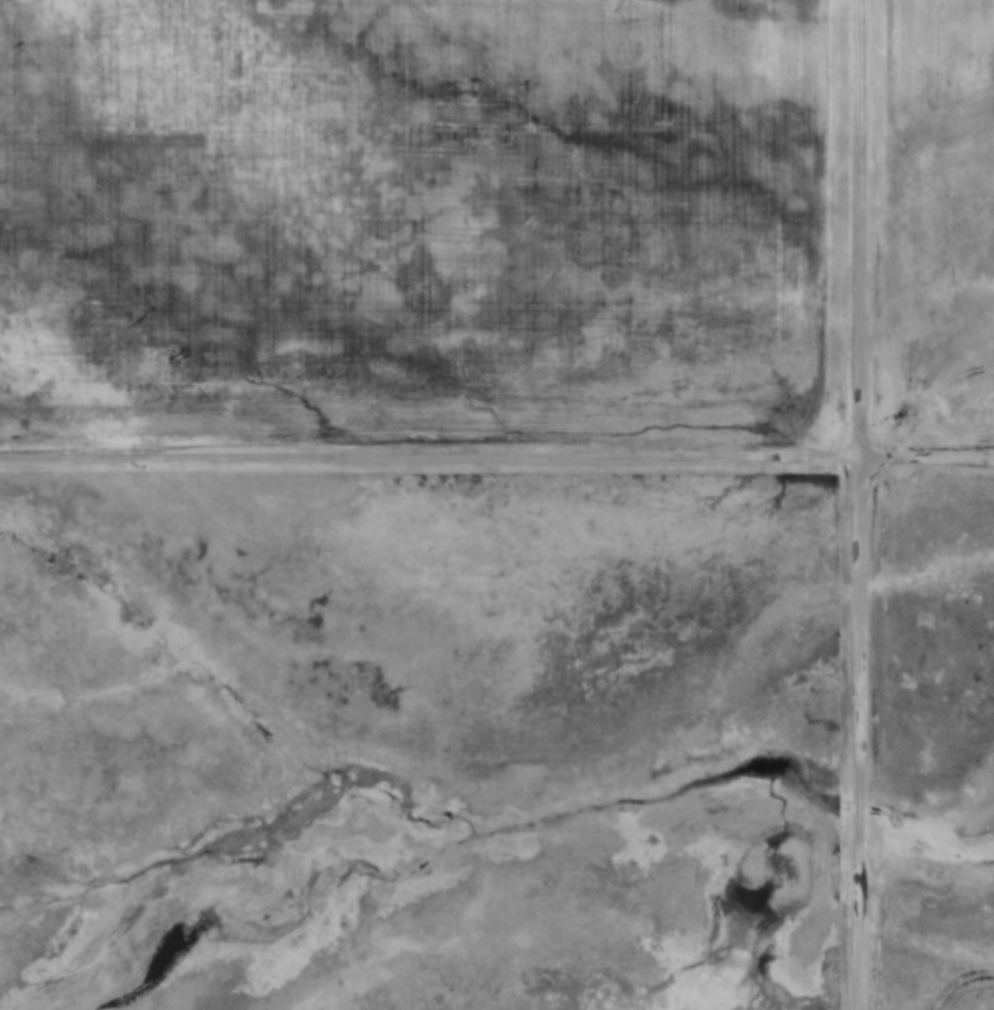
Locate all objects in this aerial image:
road: (861, 226)
road: (430, 452)
road: (927, 458)
road: (862, 732)

